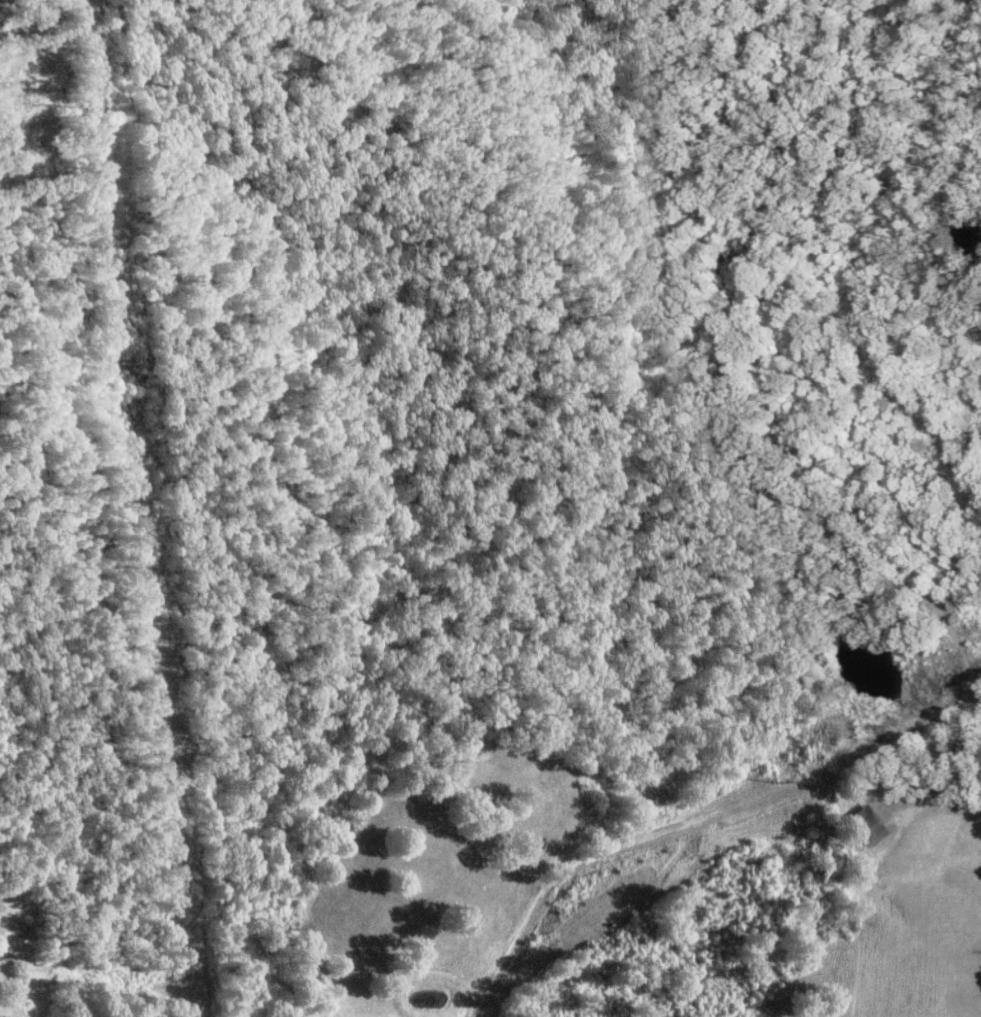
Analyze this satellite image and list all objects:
building: (870, 826)
road: (688, 829)
road: (9, 989)

